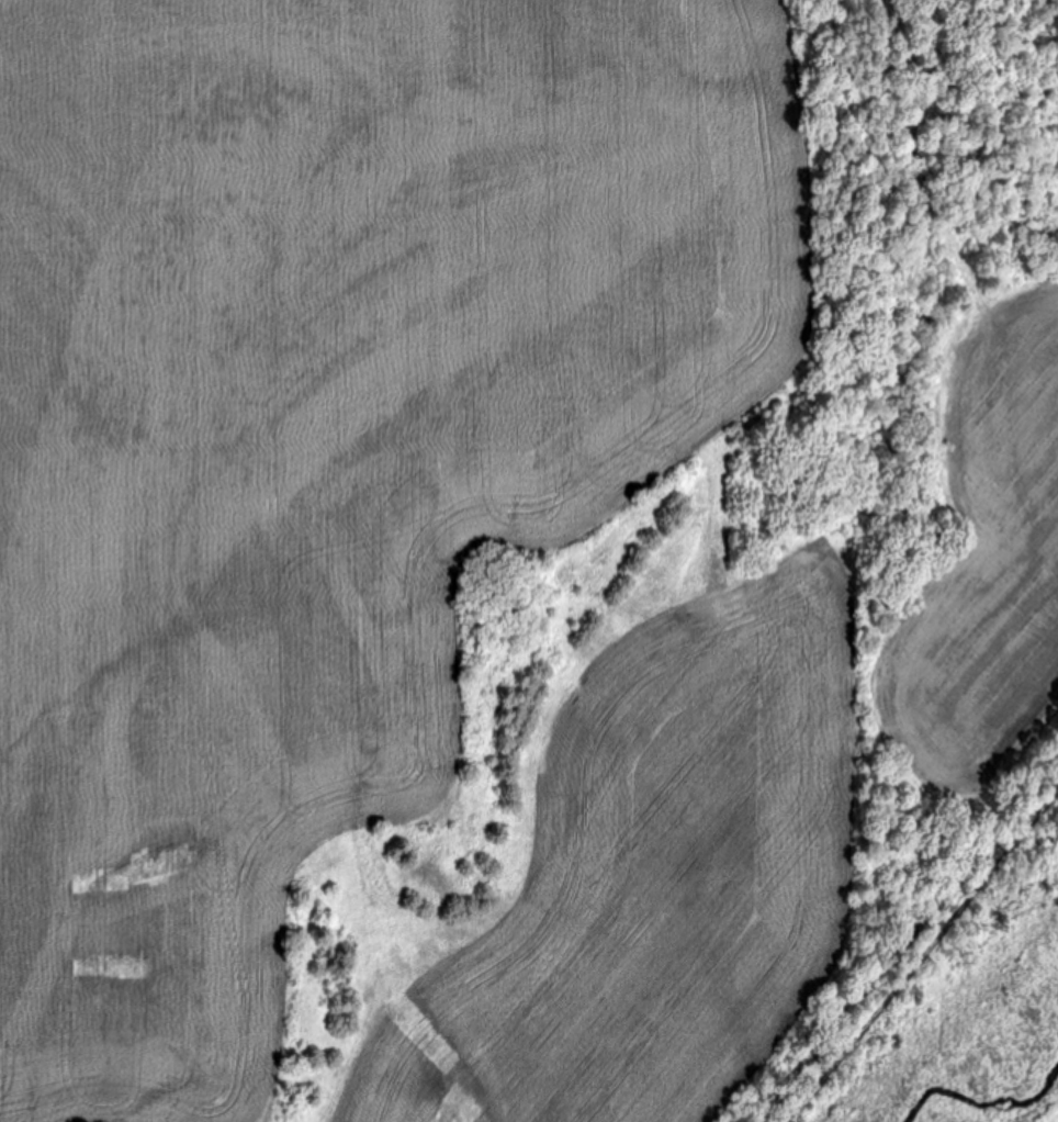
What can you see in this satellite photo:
road: (924, 957)

